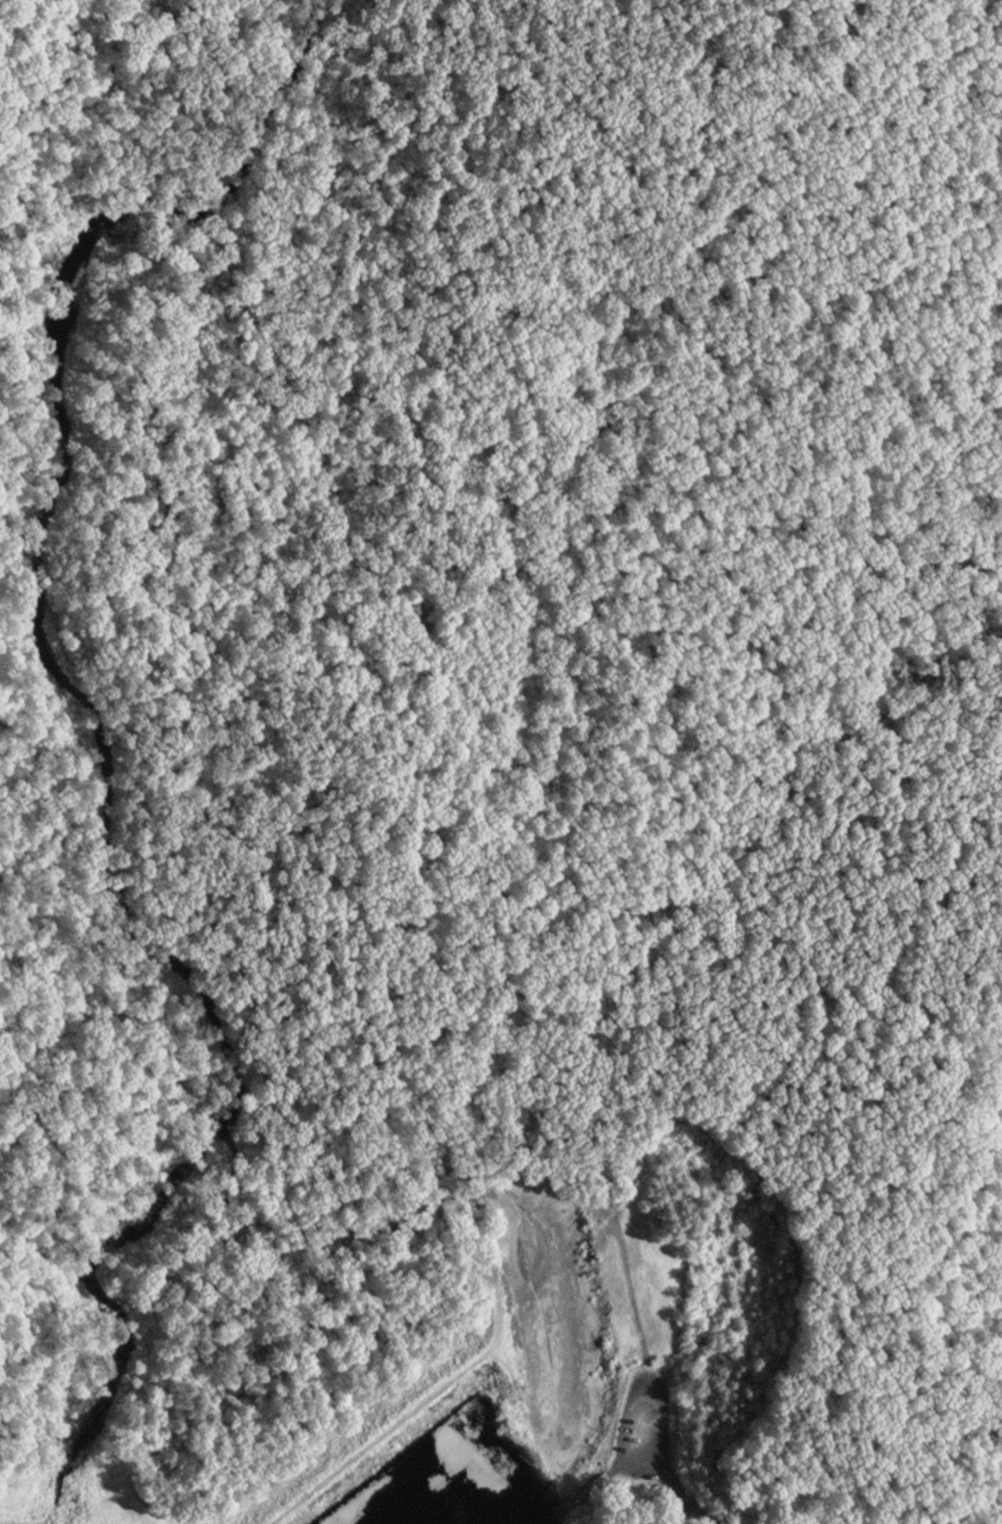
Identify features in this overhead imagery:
road: (496, 1277)
parking lot: (647, 1418)
dam: (395, 1458)
road: (656, 1466)
road: (998, 1473)
road: (998, 1479)
road: (967, 1500)

